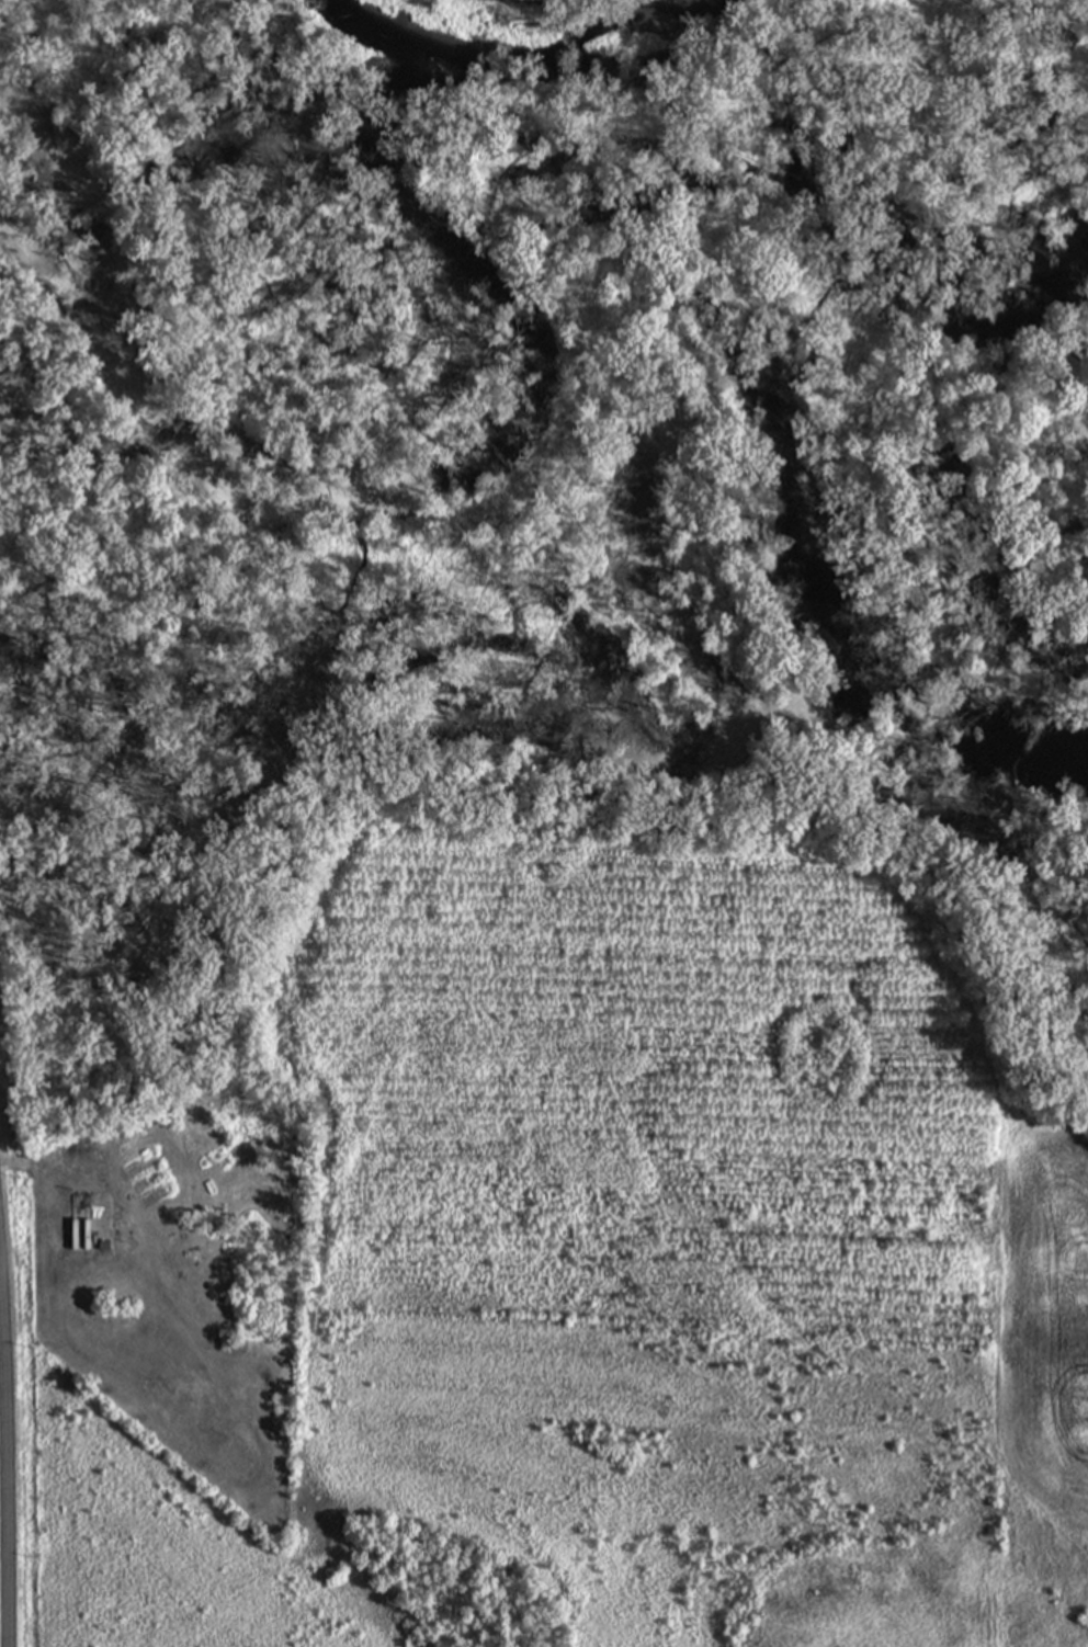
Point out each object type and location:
river: (522, 49)
road: (3, 1451)

